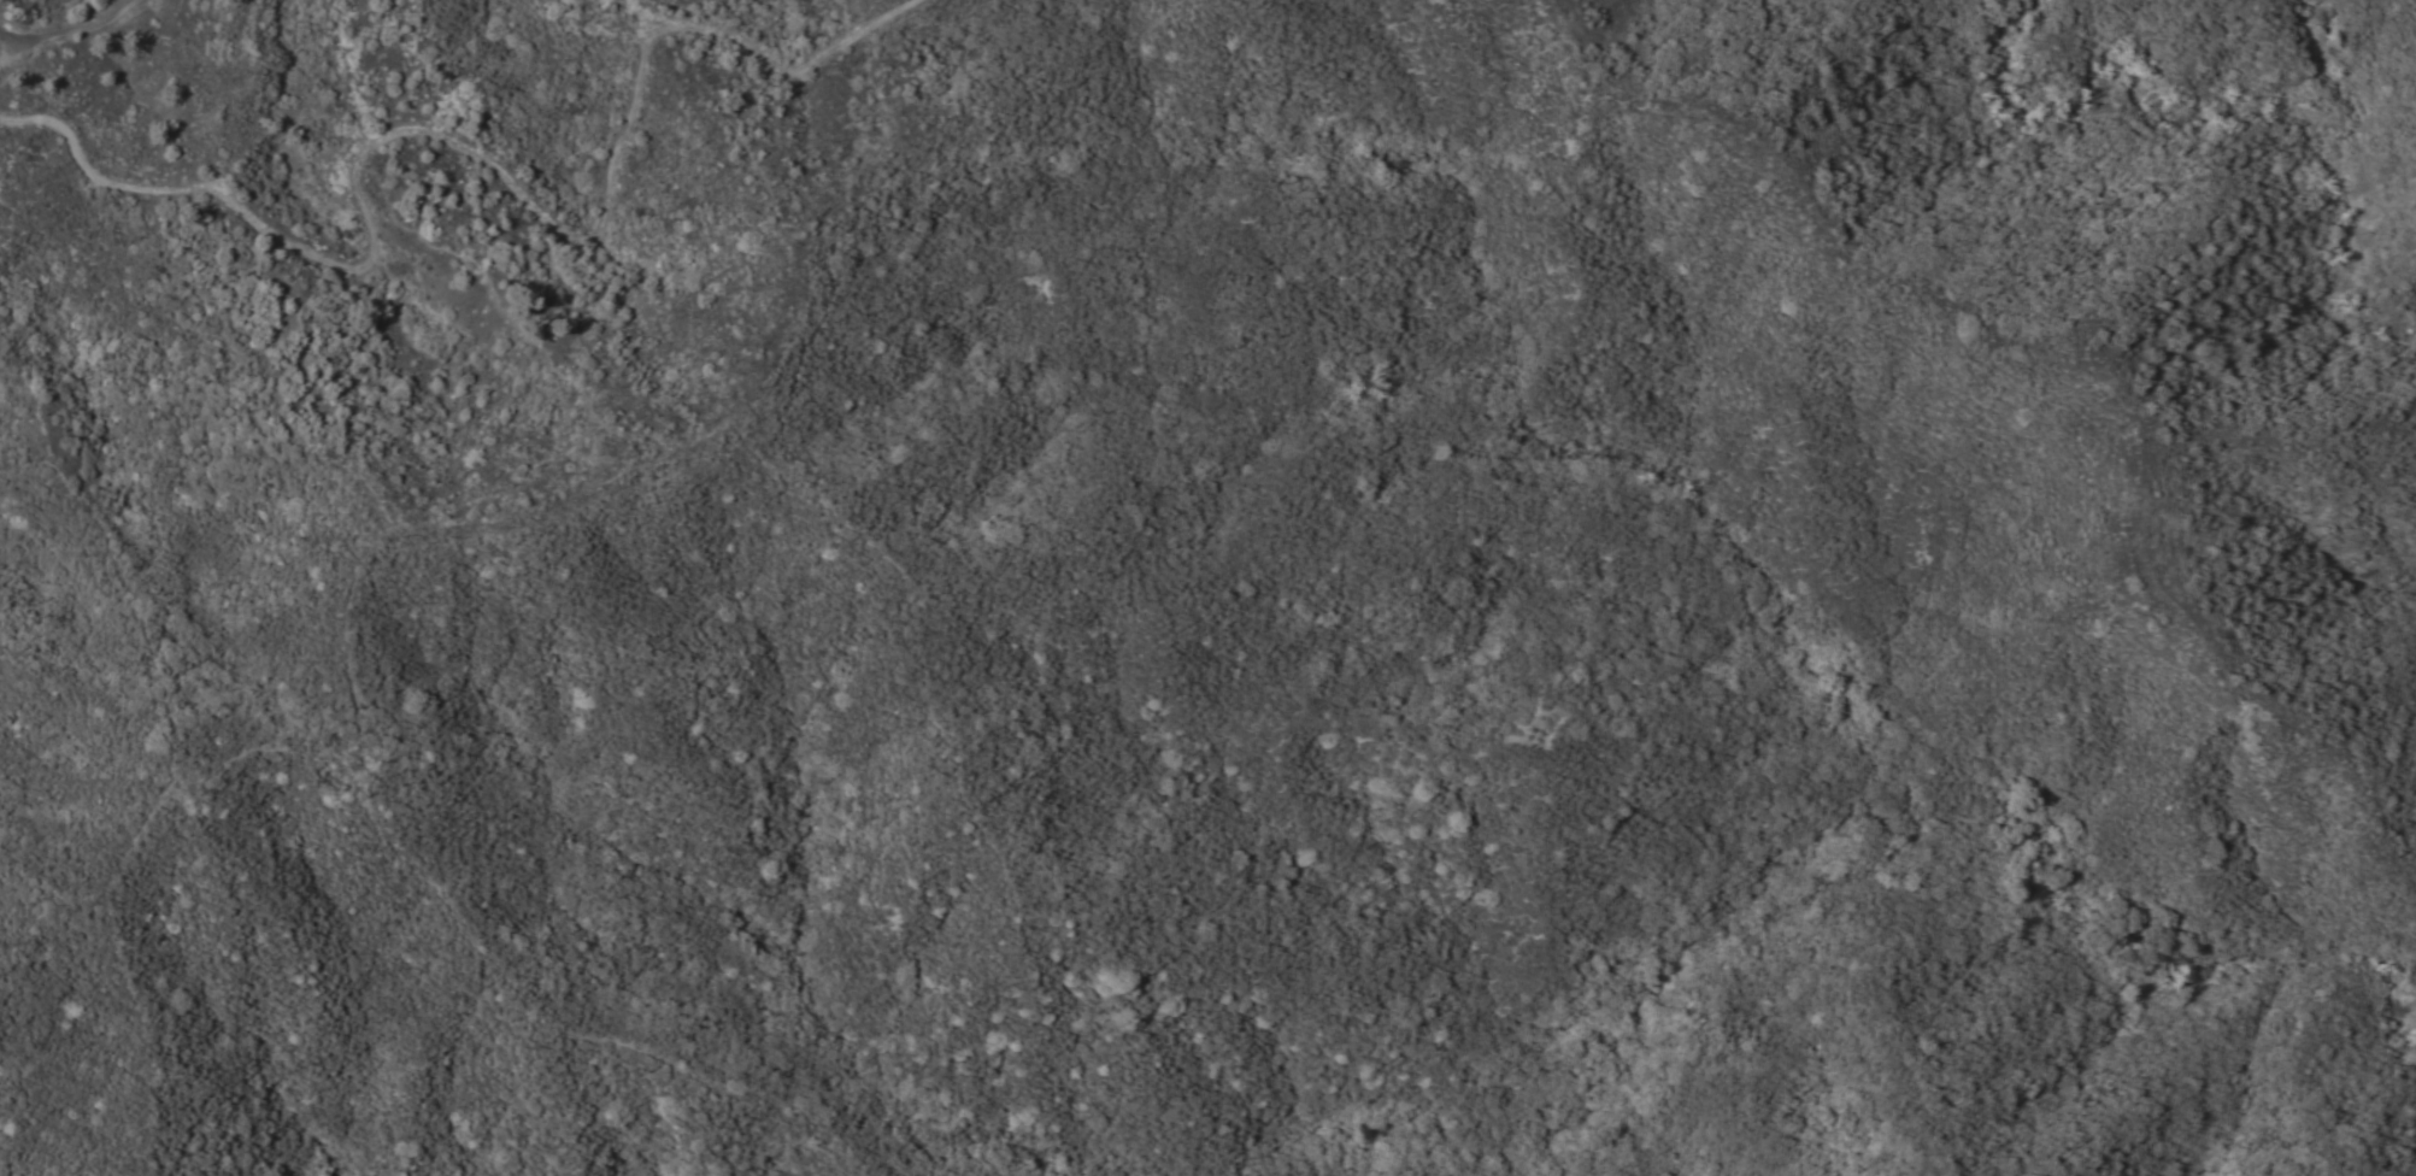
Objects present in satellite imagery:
road: (65, 30)
road: (8, 36)
road: (2293, 154)
road: (481, 167)
road: (2338, 425)

